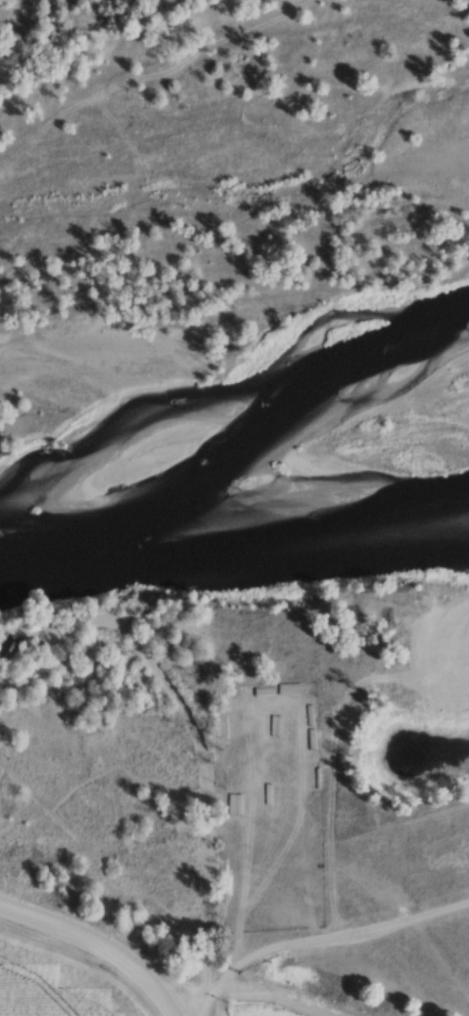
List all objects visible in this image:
river: (234, 535)
building: (5, 651)
road: (144, 651)
building: (268, 726)
road: (207, 907)
road: (331, 941)
road: (101, 946)
road: (184, 1015)

